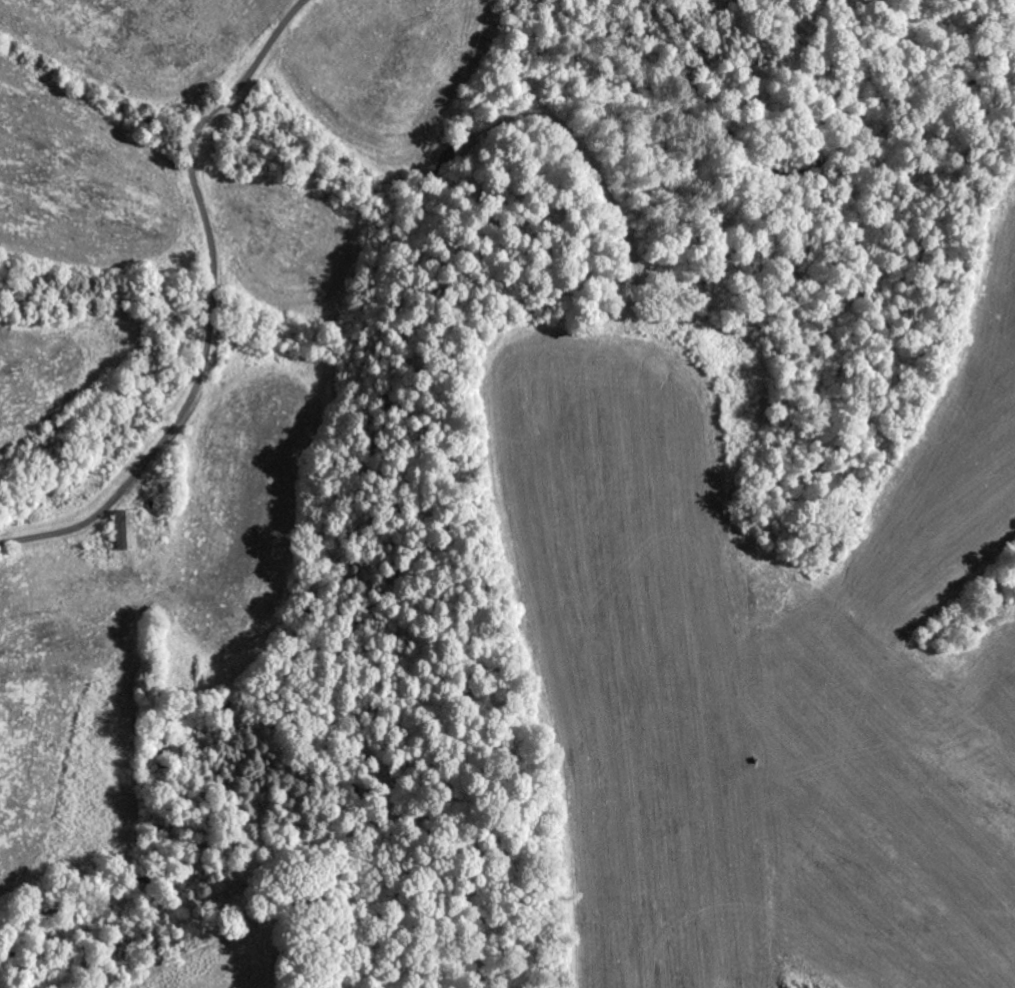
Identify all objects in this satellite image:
road: (213, 305)

